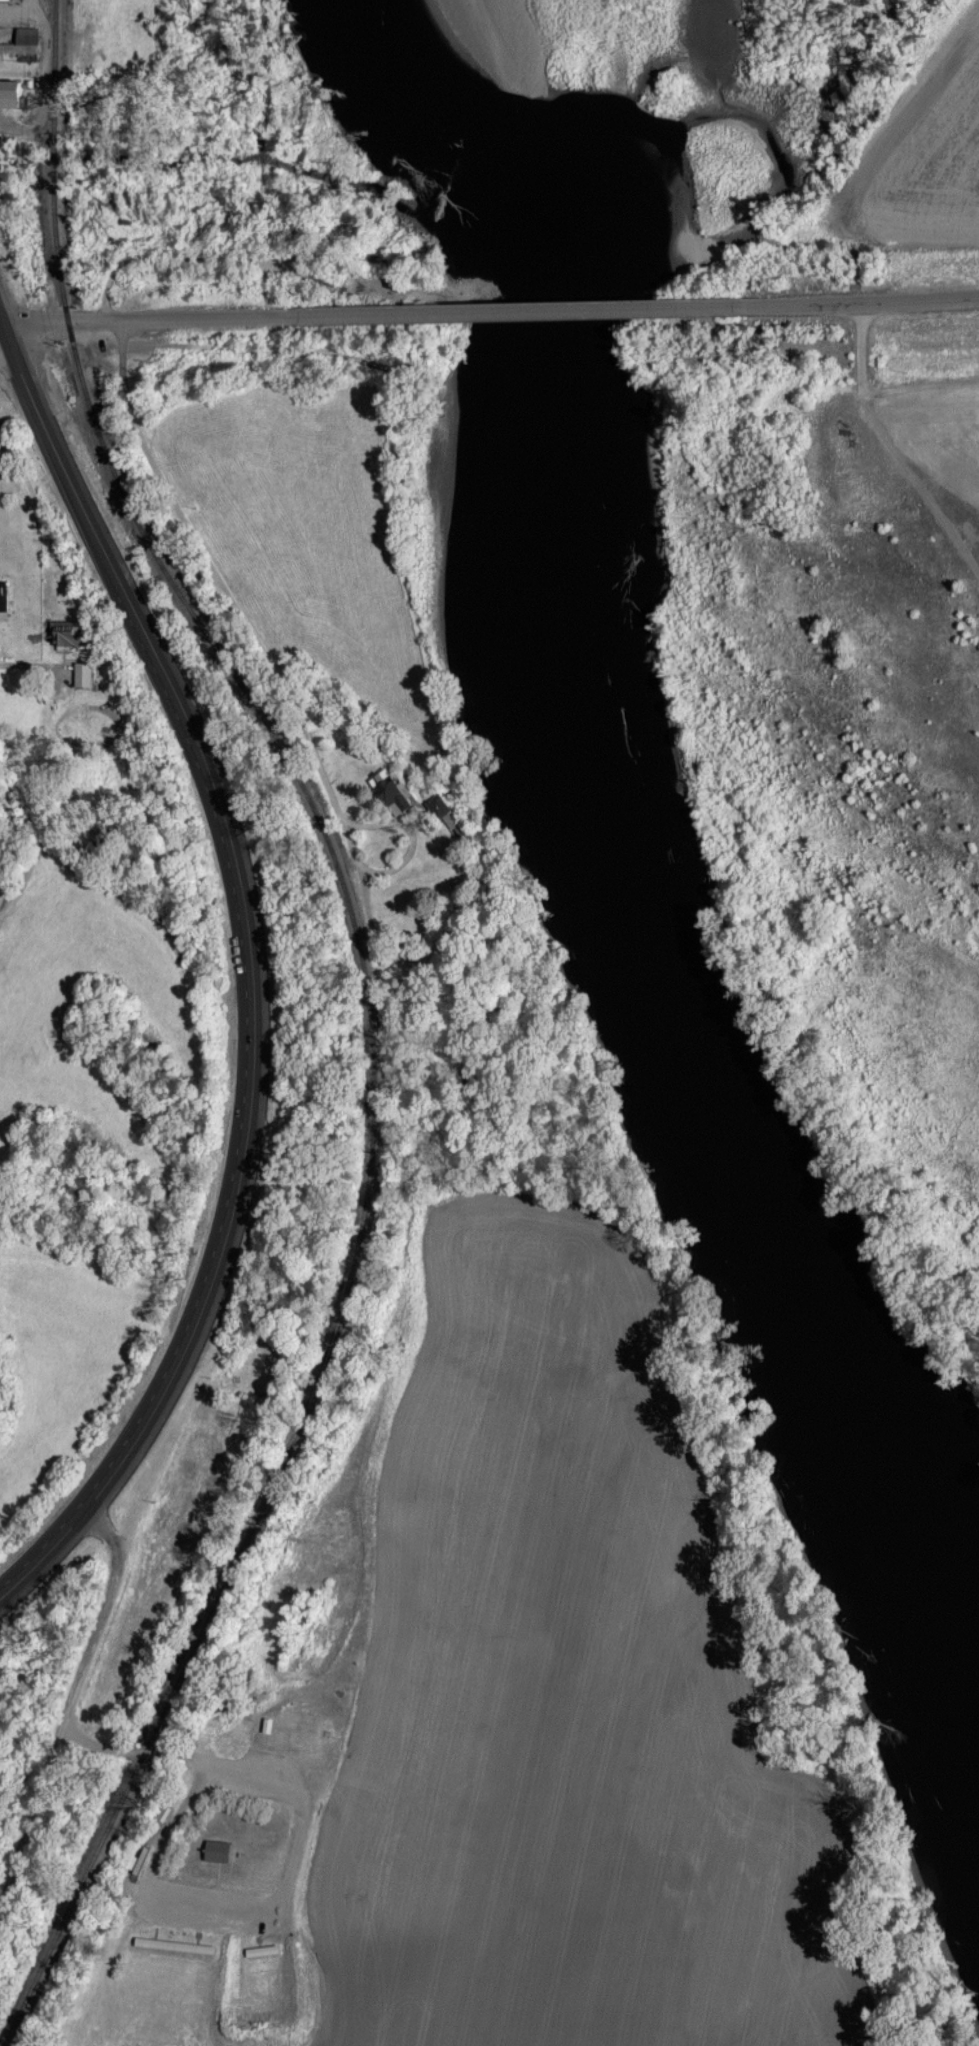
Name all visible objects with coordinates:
building: (20, 41)
road: (861, 302)
road: (512, 310)
road: (140, 323)
road: (4, 355)
road: (894, 446)
building: (2, 596)
building: (64, 633)
road: (151, 650)
building: (79, 673)
building: (388, 792)
building: (437, 805)
road: (19, 823)
river: (596, 863)
railway: (372, 1025)
road: (194, 1317)
park: (239, 1388)
road: (70, 1702)
building: (216, 1851)
building: (134, 1860)
building: (173, 1946)
building: (261, 1951)

